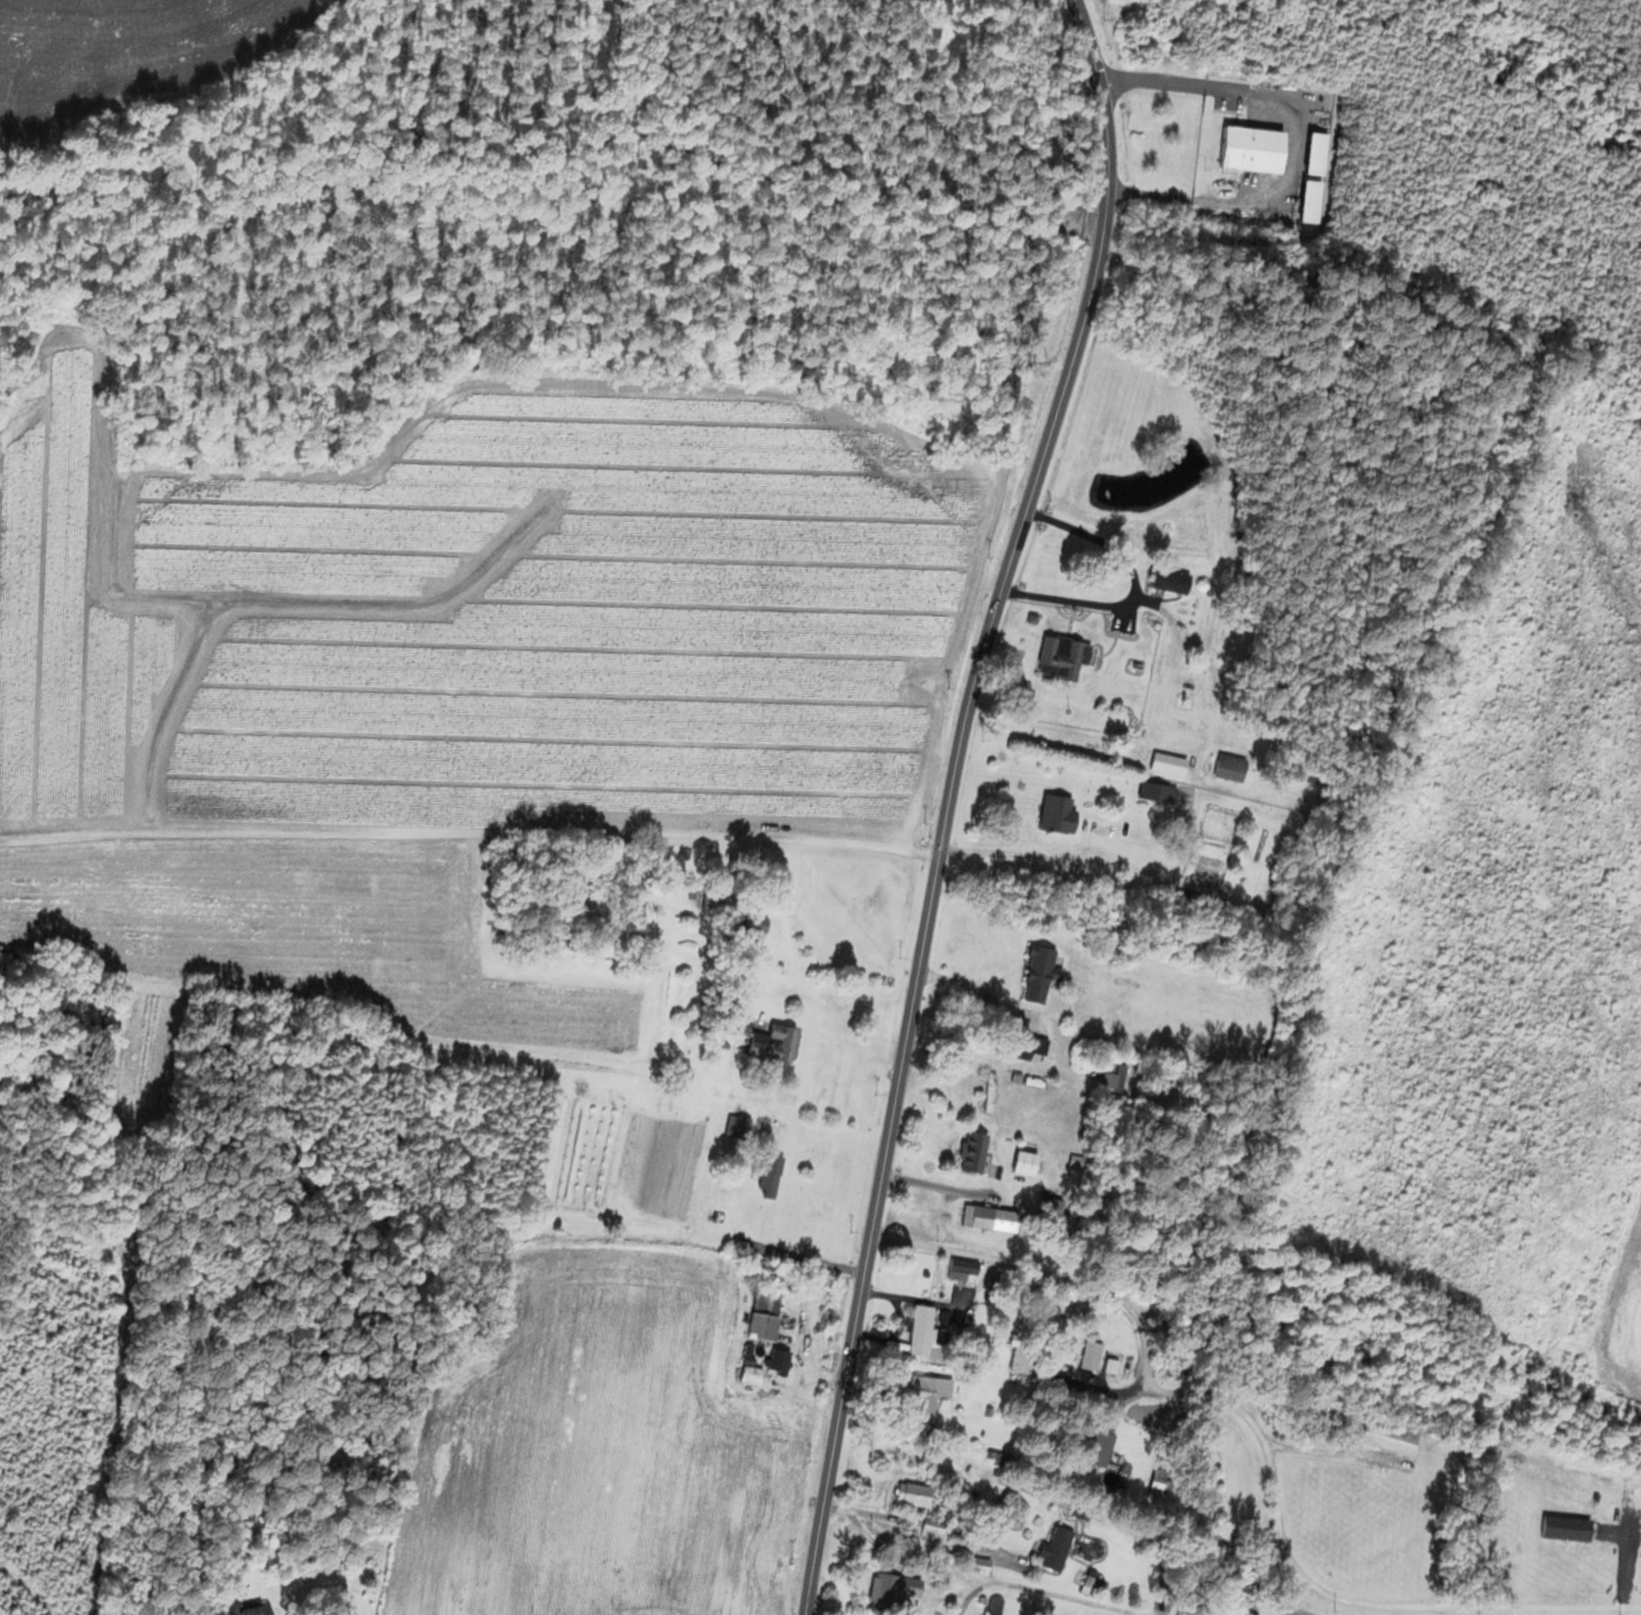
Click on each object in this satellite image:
road: (1292, 145)
building: (1255, 148)
building: (1303, 200)
building: (1167, 579)
road: (1129, 586)
building: (1057, 656)
building: (1142, 792)
road: (949, 802)
building: (1052, 812)
road: (470, 833)
road: (1006, 854)
building: (704, 896)
building: (748, 924)
building: (1034, 972)
road: (967, 983)
building: (766, 1040)
building: (1104, 1078)
building: (730, 1123)
building: (966, 1150)
building: (1018, 1160)
building: (761, 1172)
building: (1044, 1205)
building: (984, 1216)
road: (806, 1259)
building: (958, 1267)
building: (759, 1313)
building: (915, 1329)
building: (1106, 1365)
building: (745, 1372)
building: (921, 1391)
building: (1382, 1437)
building: (1092, 1438)
road: (1263, 1440)
building: (907, 1493)
building: (928, 1528)
building: (1049, 1546)
building: (972, 1563)
building: (892, 1590)
building: (246, 1608)
road: (954, 1611)
road: (810, 1613)

